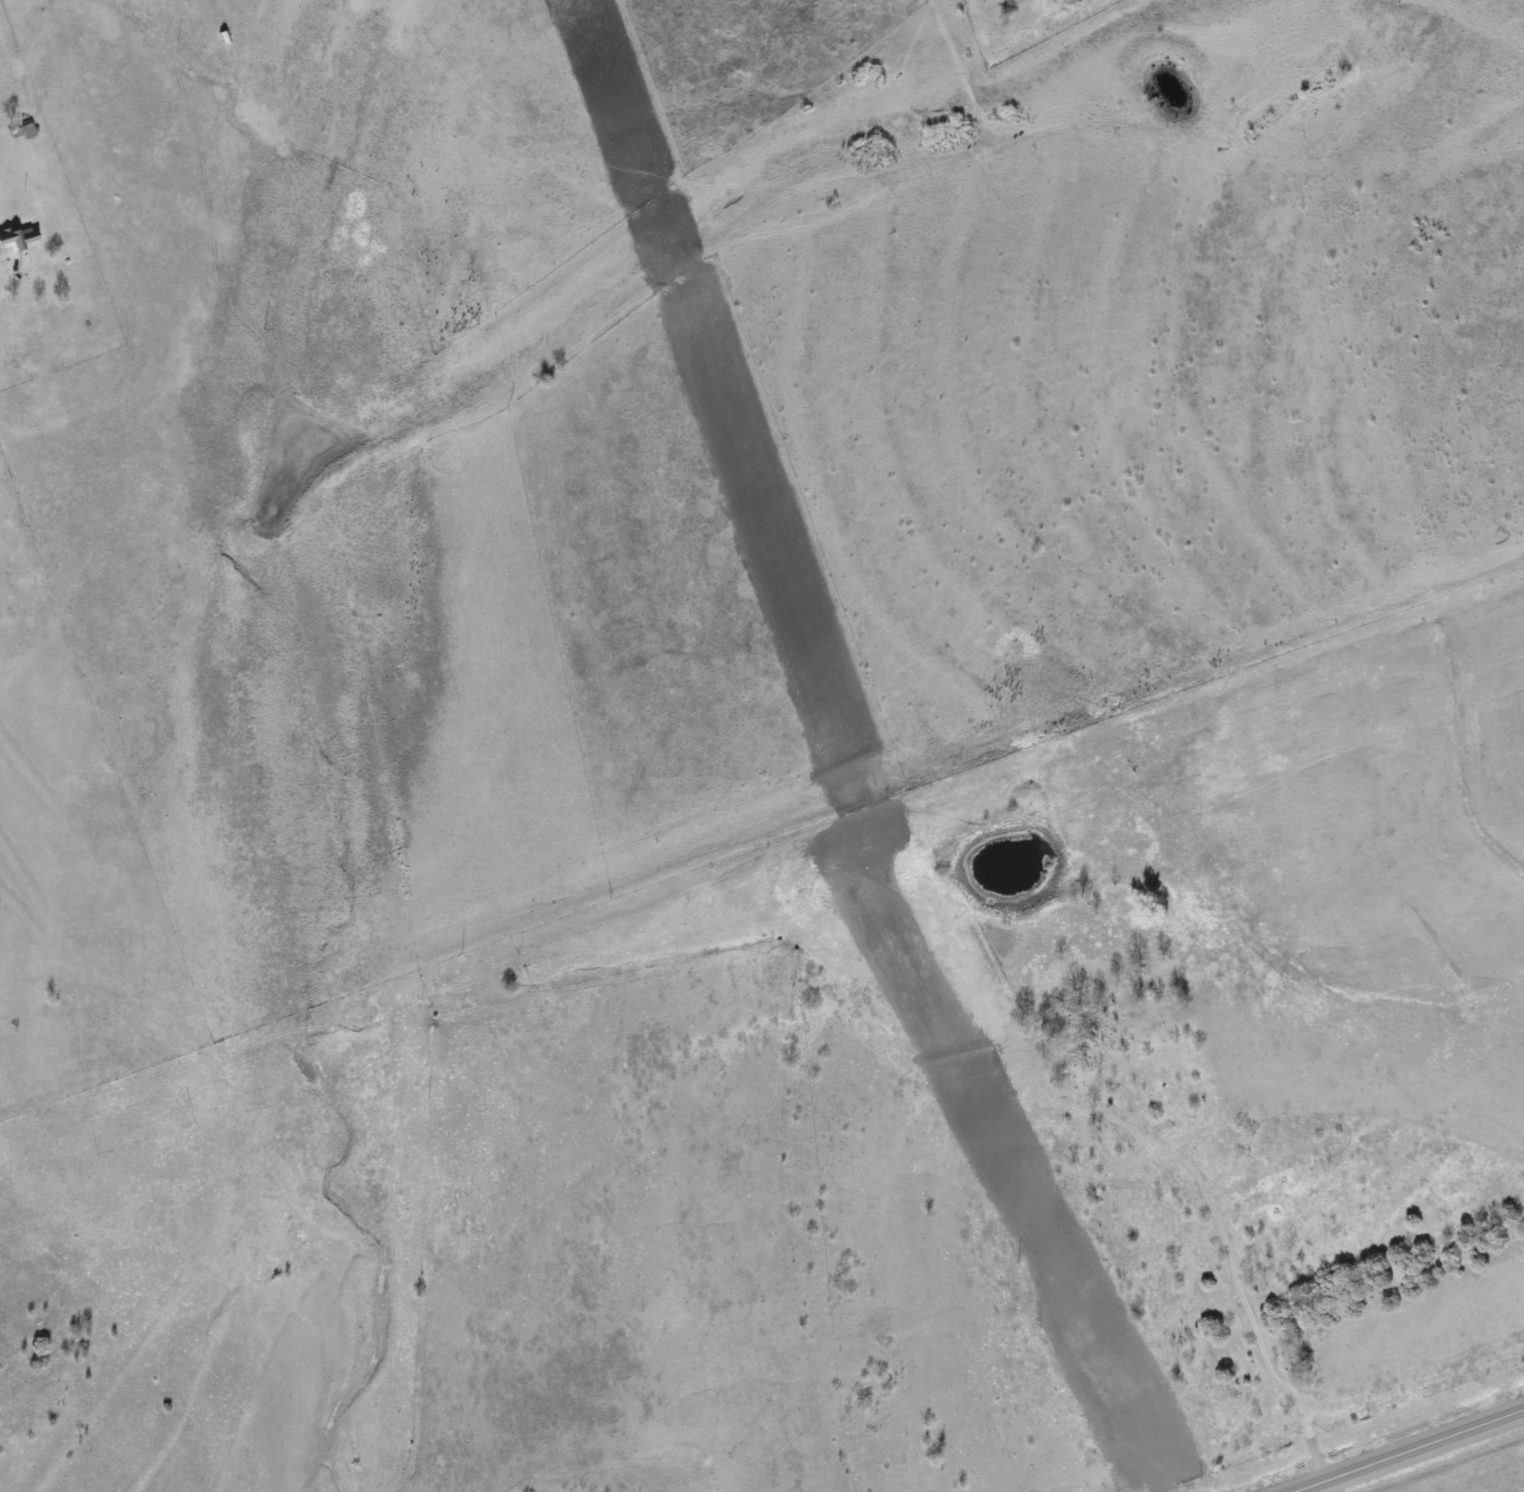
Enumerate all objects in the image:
building: (19, 239)
road: (10, 288)
road: (1241, 1298)
road: (1406, 1449)

